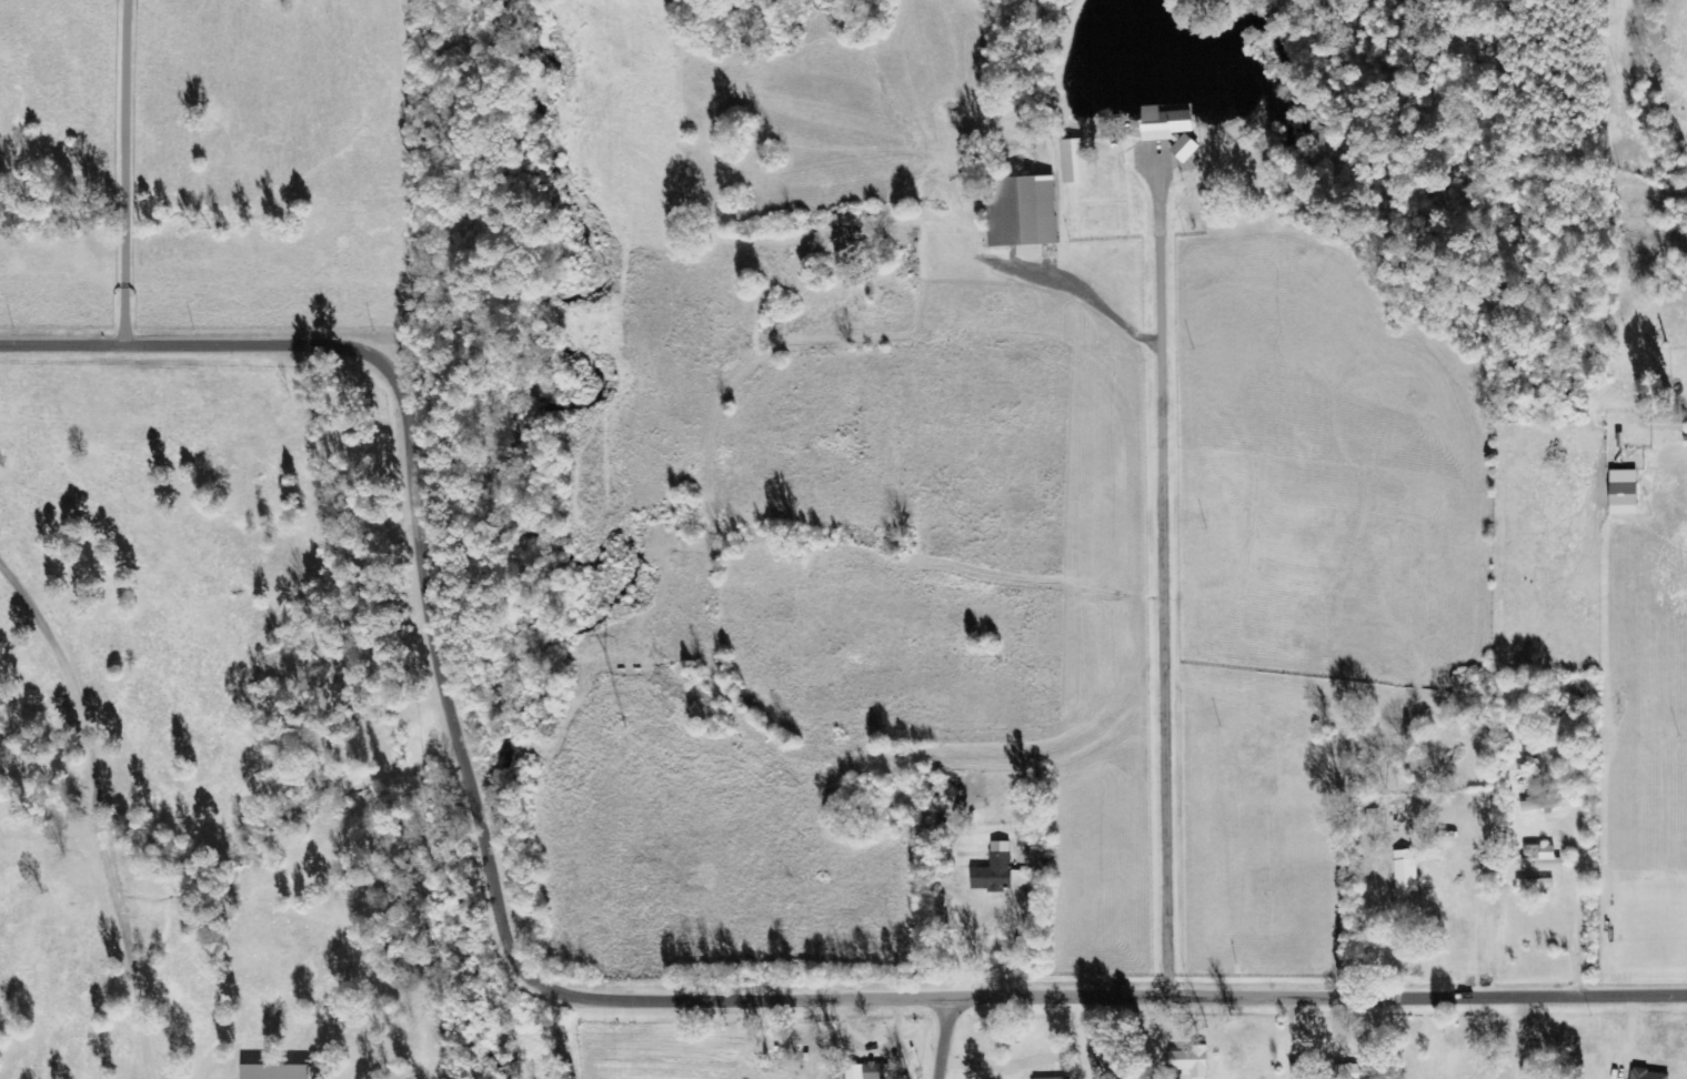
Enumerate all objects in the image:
building: (1165, 123)
building: (1185, 148)
building: (1074, 161)
building: (1023, 212)
building: (1625, 492)
power tower: (626, 726)
building: (1540, 804)
building: (1374, 814)
building: (1000, 870)
building: (1406, 873)
road: (588, 997)
road: (943, 1038)
building: (1193, 1061)
building: (278, 1071)
building: (872, 1071)
building: (1358, 1071)
building: (1649, 1075)

